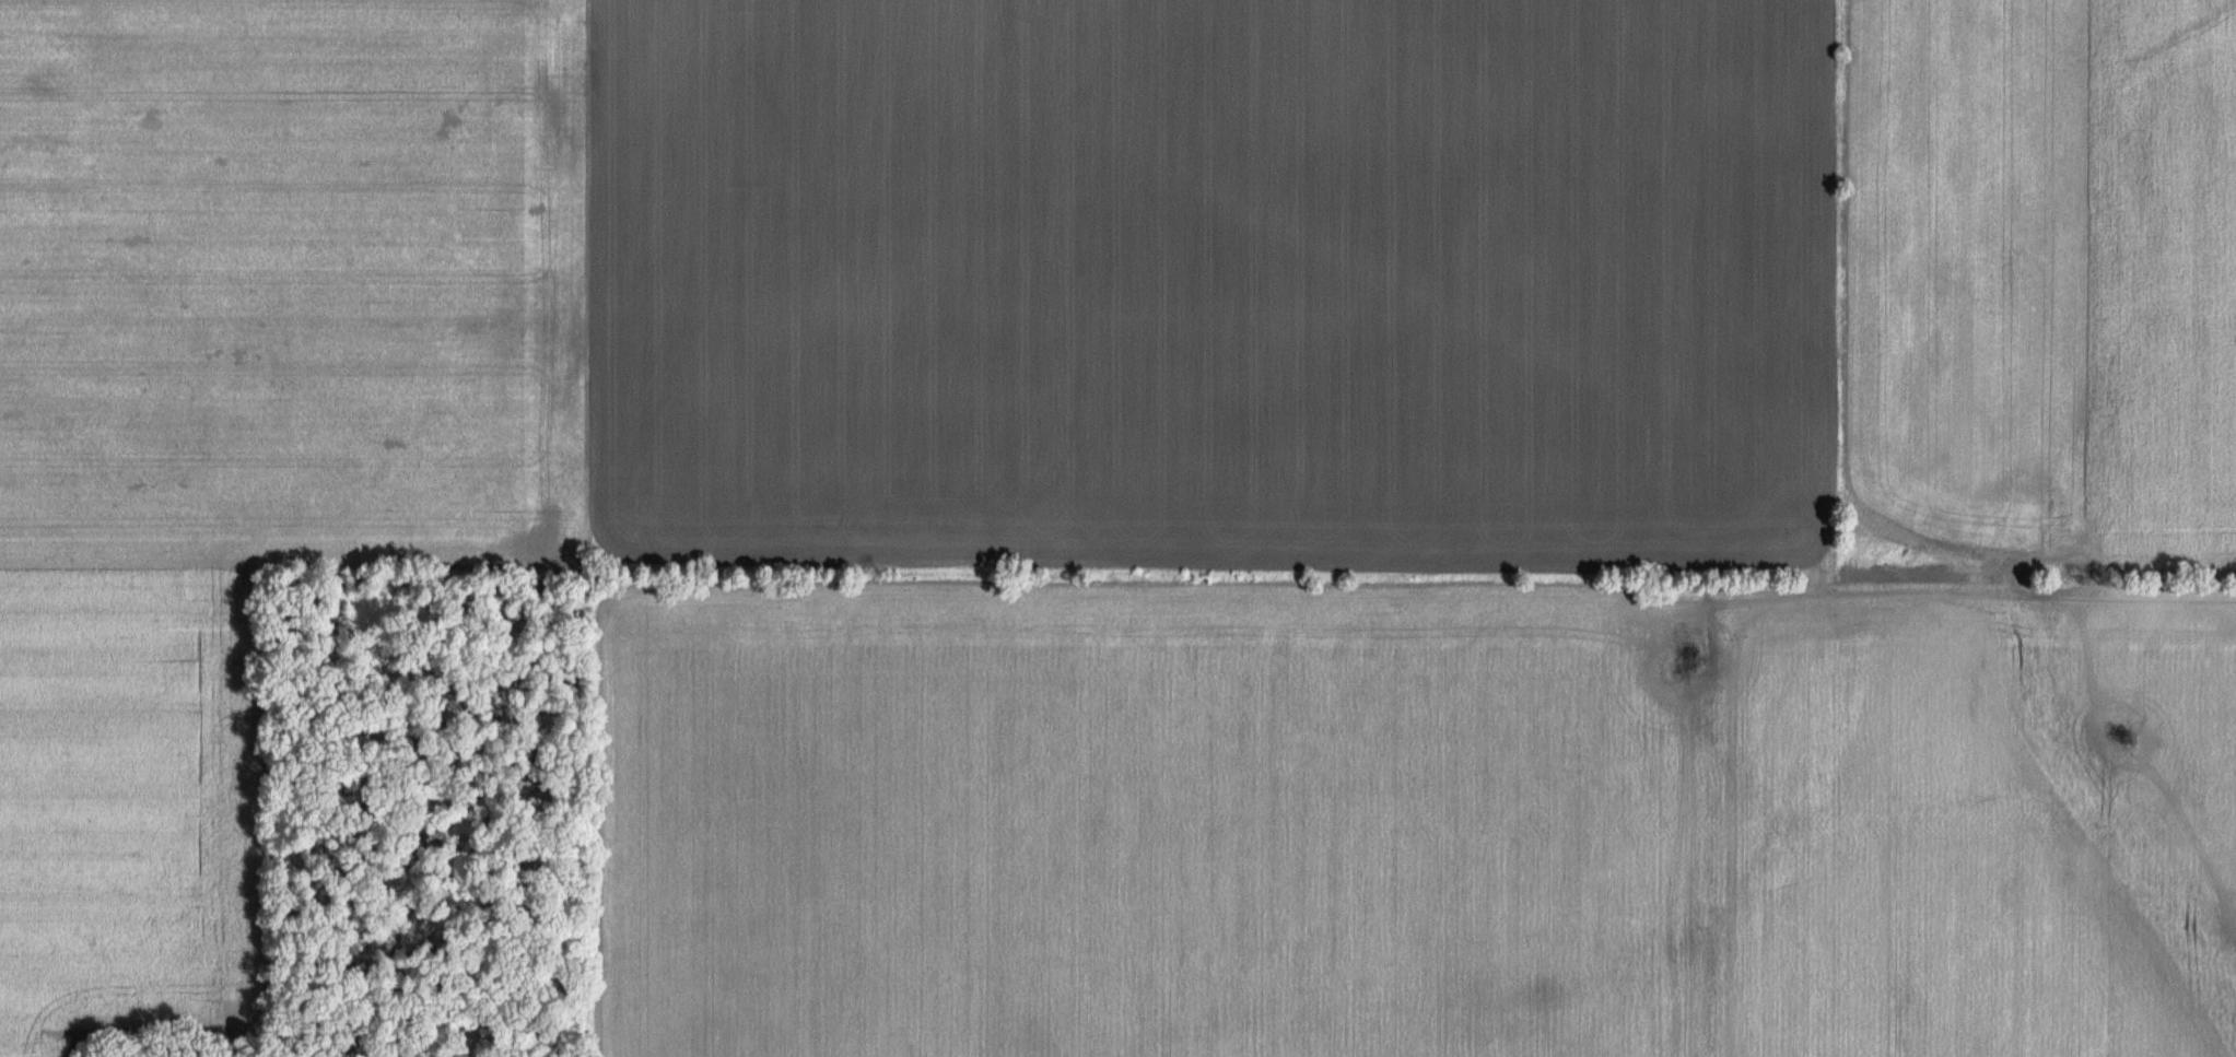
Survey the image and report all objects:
crop: (2161, 726)

